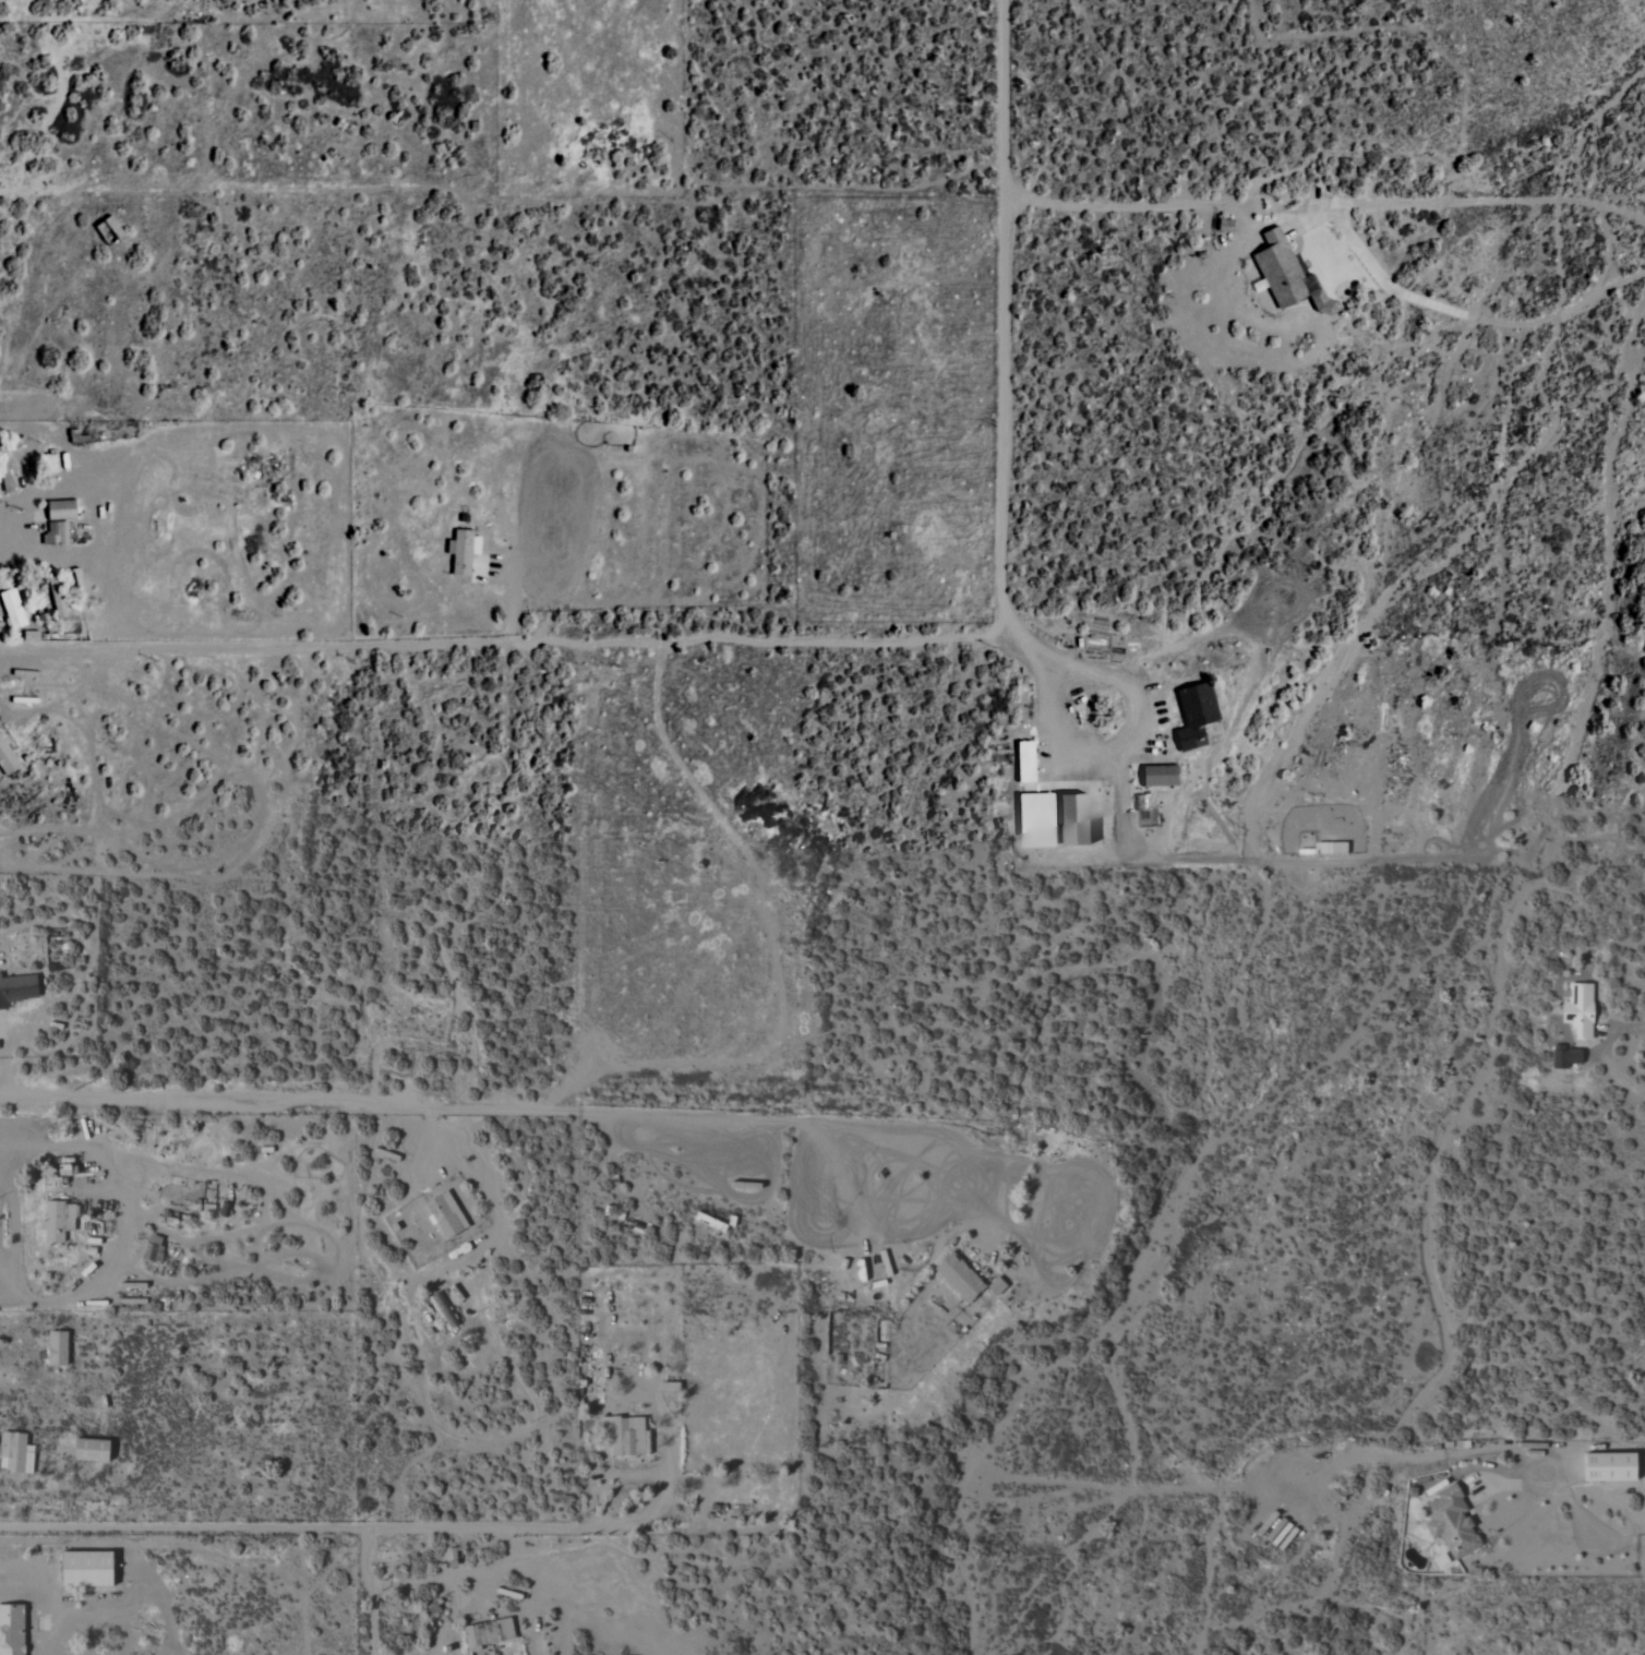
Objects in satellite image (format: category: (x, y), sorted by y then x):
road: (1001, 99)
road: (12, 188)
road: (1465, 202)
road: (1143, 208)
building: (1226, 226)
road: (1470, 315)
road: (1004, 418)
road: (36, 497)
building: (62, 511)
building: (57, 533)
building: (464, 552)
road: (512, 591)
building: (58, 596)
building: (13, 608)
building: (1, 632)
road: (503, 644)
building: (1197, 715)
road: (1101, 757)
building: (8, 758)
building: (1161, 776)
building: (1038, 819)
building: (1076, 819)
building: (17, 988)
building: (1581, 1009)
building: (1566, 1057)
road: (1, 1063)
road: (285, 1103)
road: (766, 1119)
building: (68, 1170)
road: (478, 1187)
building: (446, 1214)
building: (59, 1221)
road: (120, 1224)
building: (154, 1248)
building: (961, 1278)
building: (444, 1310)
building: (58, 1348)
building: (671, 1388)
road: (641, 1390)
building: (626, 1435)
building: (93, 1450)
building: (16, 1453)
building: (1612, 1467)
road: (640, 1474)
road: (1582, 1514)
building: (1452, 1522)
road: (313, 1525)
road: (524, 1556)
building: (452, 1557)
building: (1442, 1561)
building: (87, 1569)
road: (448, 1576)
road: (371, 1590)
road: (529, 1617)
road: (566, 1619)
building: (11, 1630)
building: (490, 1633)

